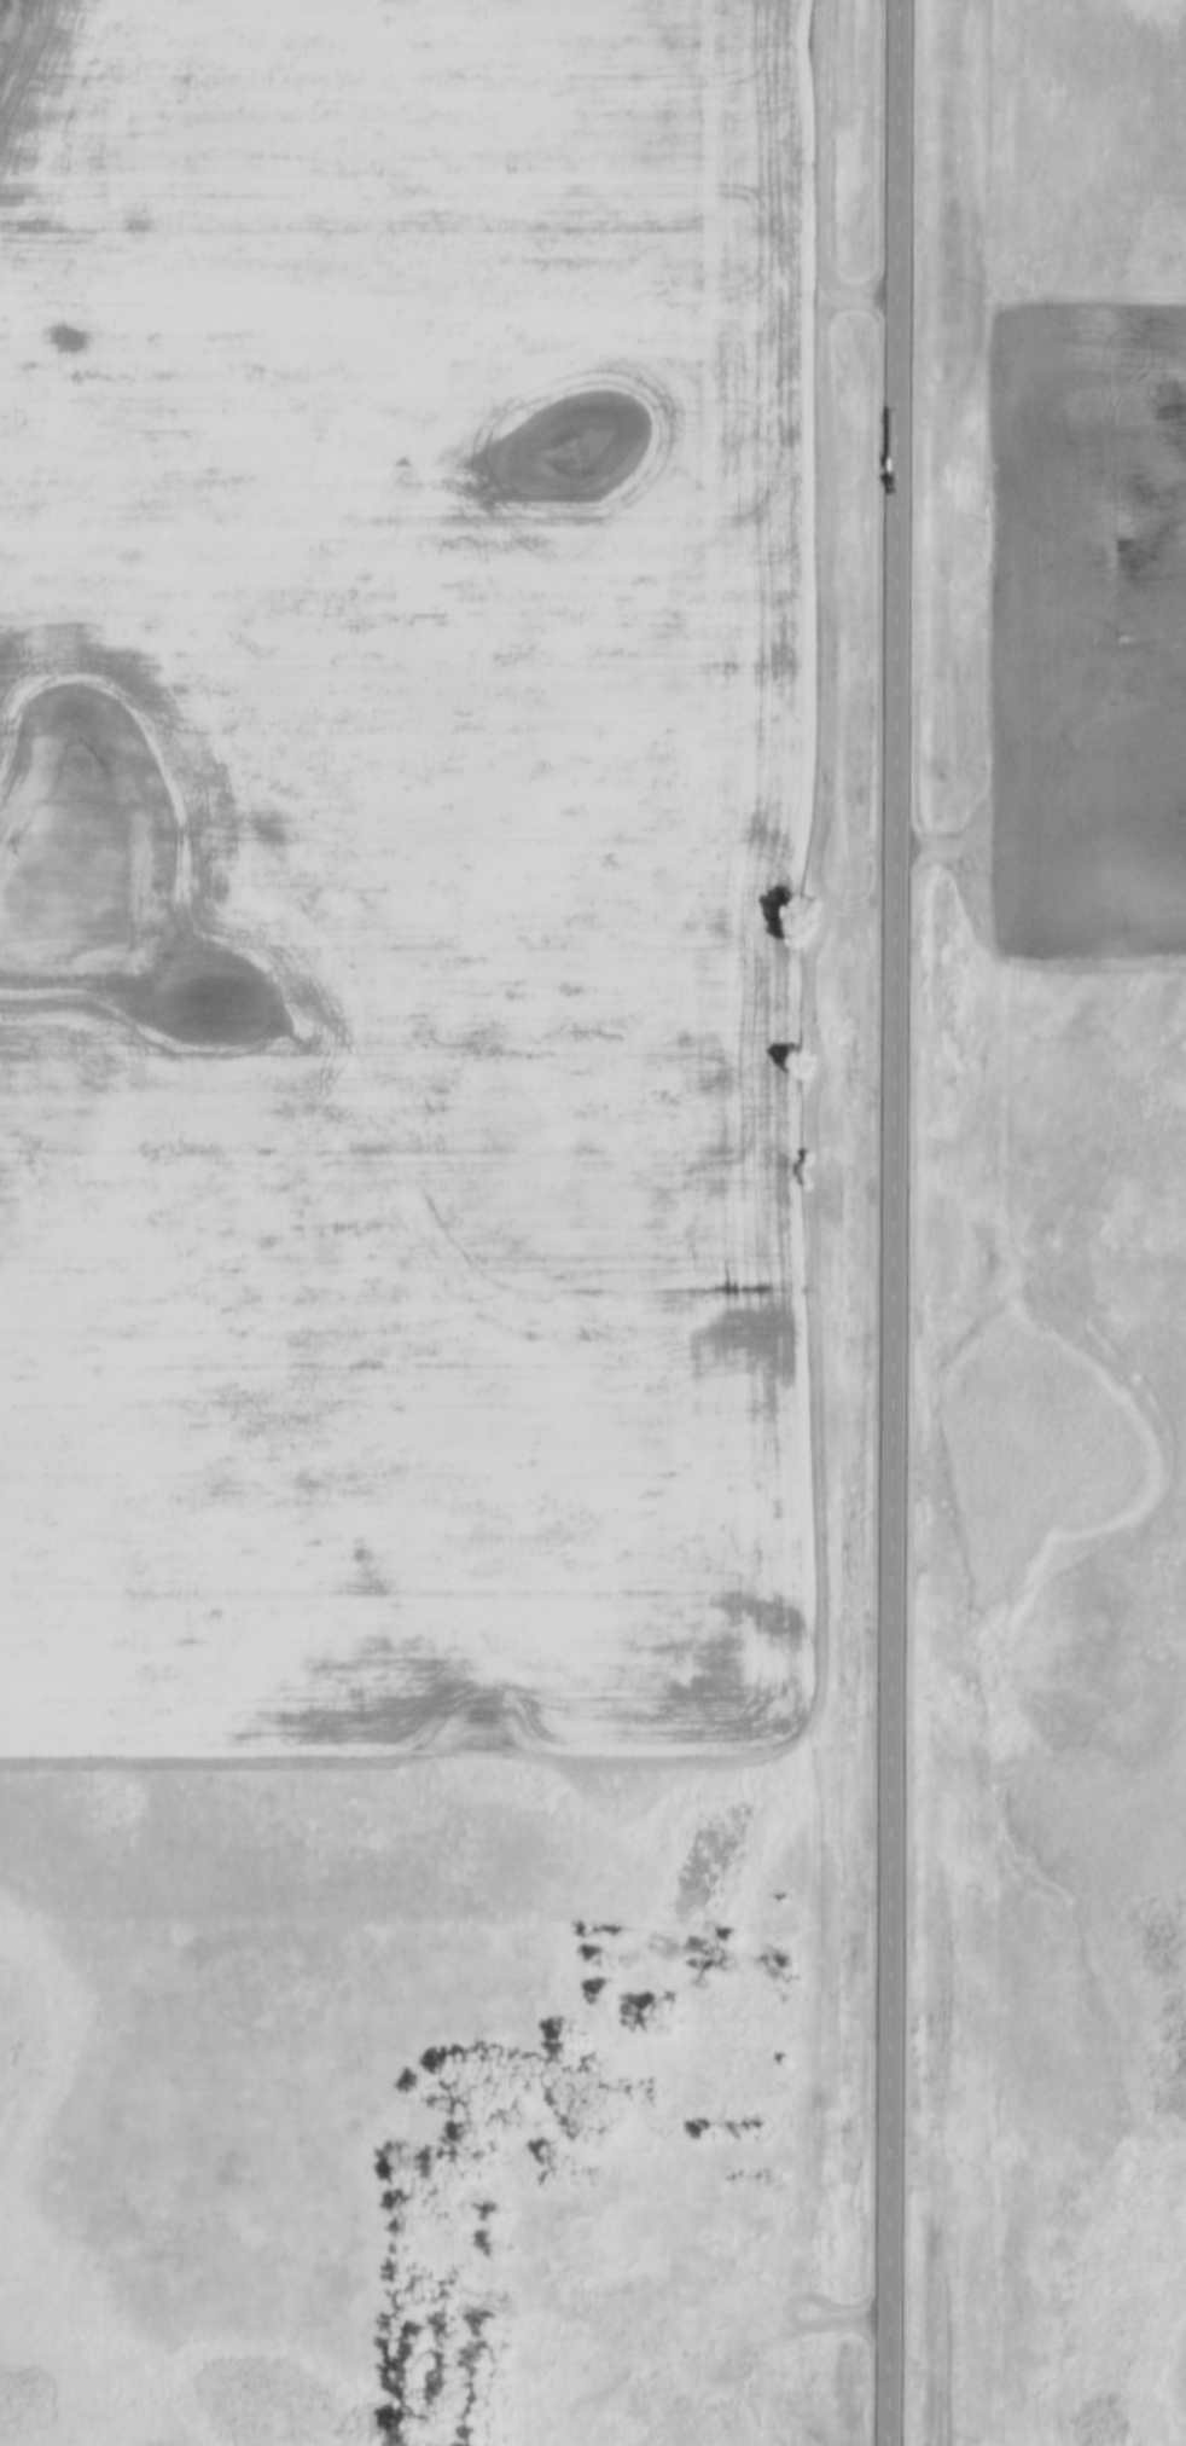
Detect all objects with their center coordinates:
road: (897, 1222)

